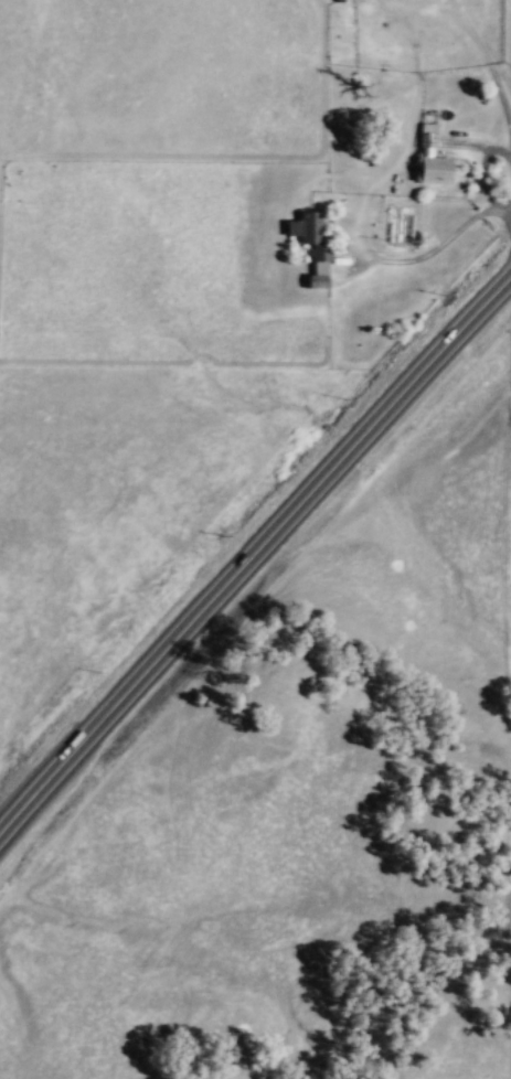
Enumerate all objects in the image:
building: (340, 0)
road: (501, 102)
building: (429, 158)
road: (361, 194)
building: (308, 236)
road: (254, 548)

